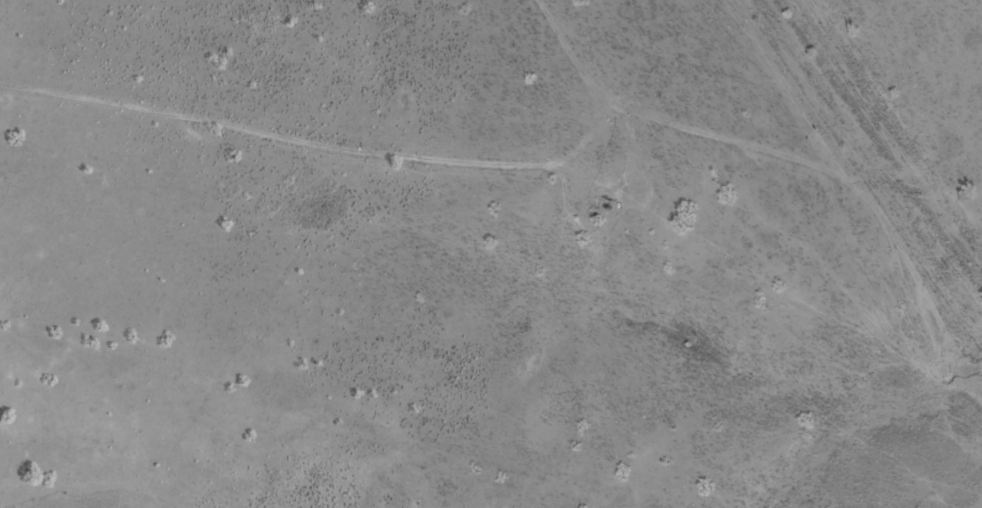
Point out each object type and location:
railway: (883, 145)

